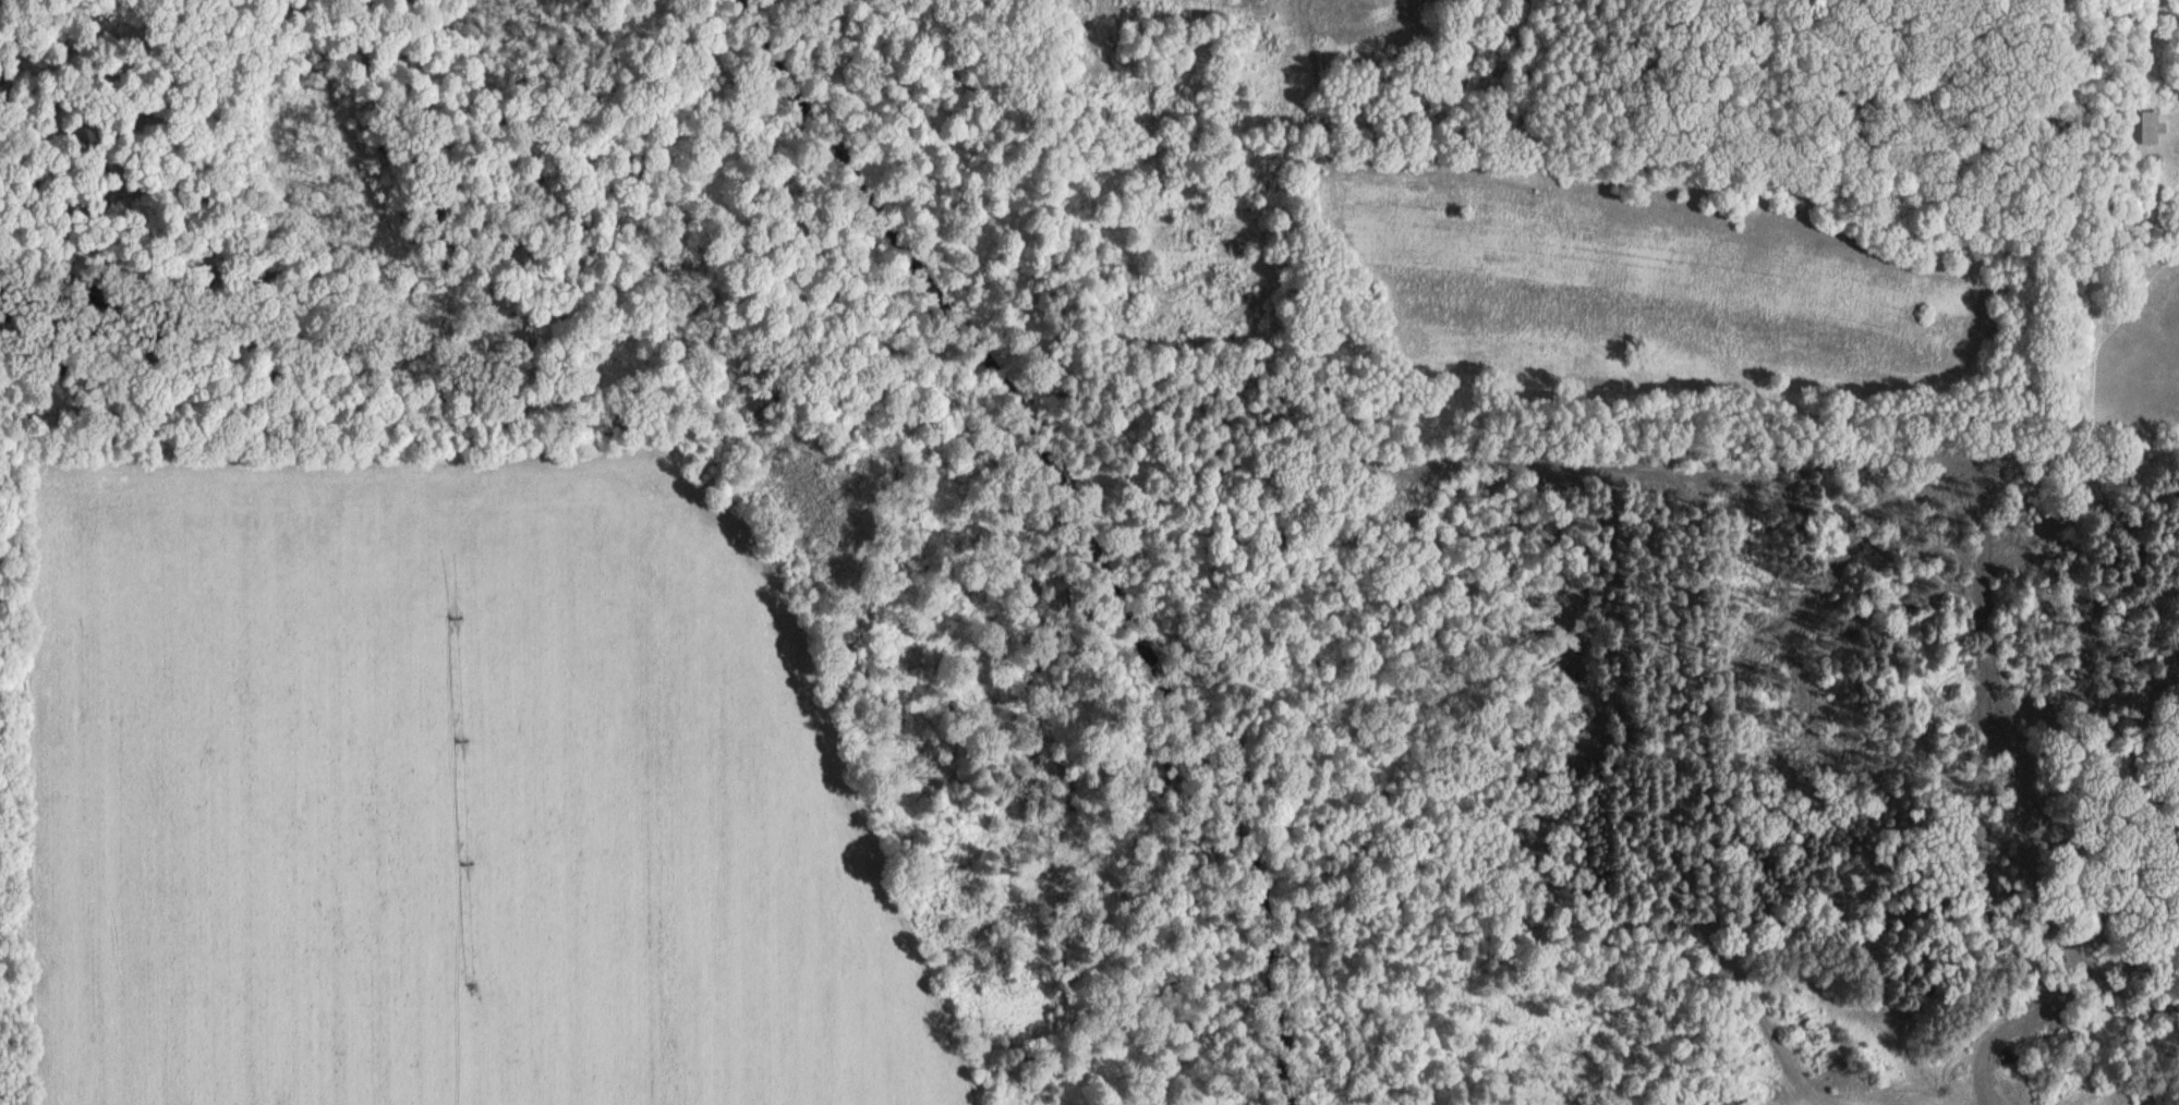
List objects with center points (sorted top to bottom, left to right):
building: (2150, 125)

